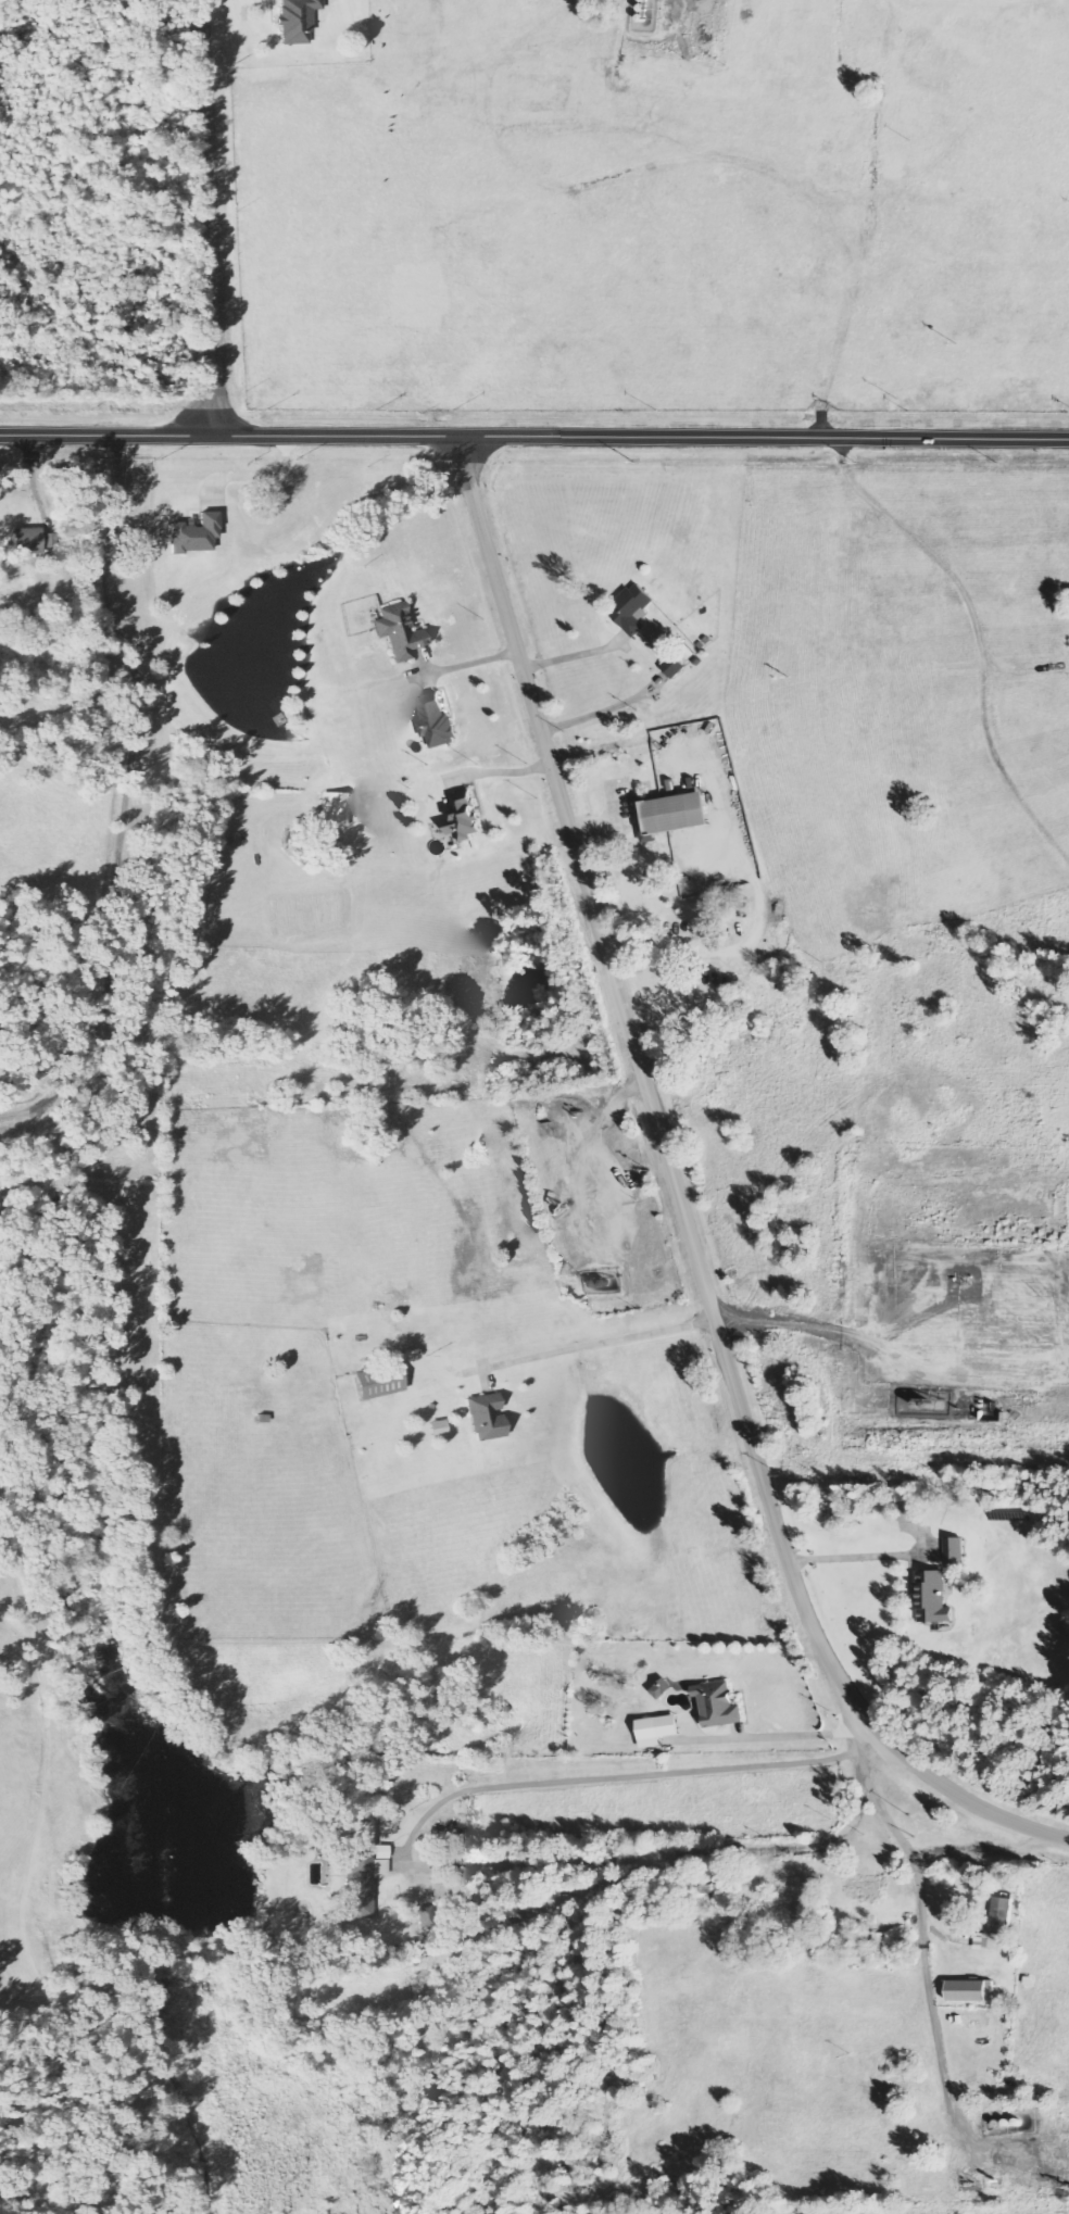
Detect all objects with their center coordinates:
road: (678, 14)
building: (299, 21)
road: (209, 218)
road: (533, 438)
building: (197, 534)
building: (29, 542)
building: (633, 608)
building: (402, 632)
building: (676, 667)
building: (438, 722)
building: (336, 810)
building: (674, 815)
building: (465, 817)
road: (581, 1155)
road: (679, 1199)
building: (381, 1383)
building: (489, 1418)
building: (440, 1429)
building: (905, 1494)
building: (956, 1550)
building: (933, 1598)
building: (664, 1689)
building: (720, 1704)
building: (659, 1731)
road: (798, 1736)
building: (1003, 1916)
road: (925, 1955)
building: (972, 1992)

